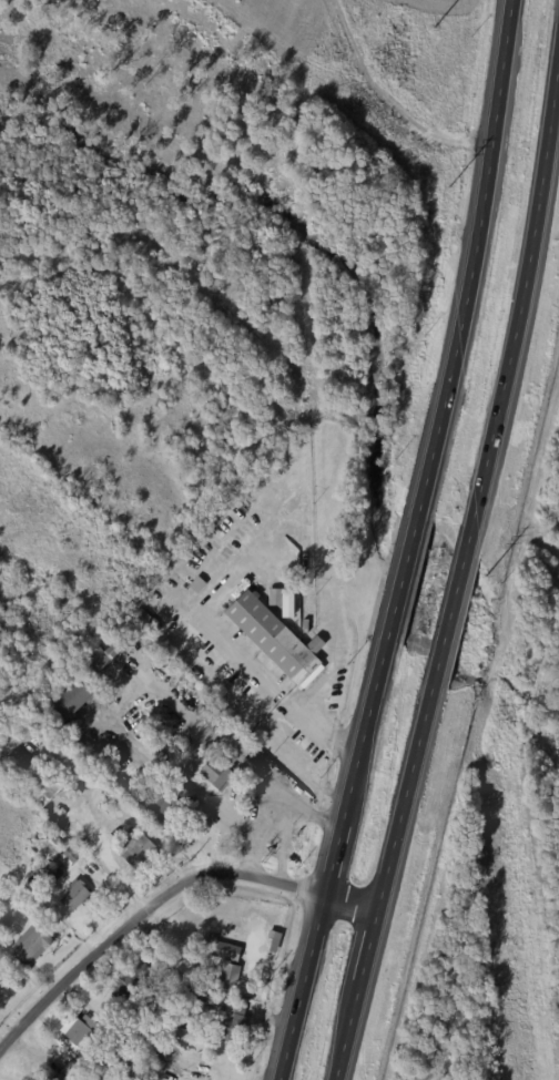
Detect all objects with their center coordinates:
road: (474, 258)
road: (522, 293)
road: (403, 577)
building: (196, 582)
road: (456, 590)
building: (273, 595)
building: (287, 604)
building: (306, 624)
building: (275, 636)
building: (108, 655)
road: (255, 674)
building: (75, 696)
building: (142, 717)
building: (35, 762)
road: (356, 767)
building: (218, 774)
building: (39, 783)
building: (173, 801)
building: (298, 833)
building: (55, 838)
building: (139, 849)
building: (34, 852)
building: (72, 854)
road: (385, 867)
building: (44, 872)
building: (77, 895)
road: (163, 898)
building: (49, 925)
building: (277, 940)
building: (34, 944)
building: (225, 945)
building: (227, 971)
building: (134, 981)
building: (253, 982)
building: (1, 987)
road: (302, 988)
building: (209, 996)
building: (235, 1022)
building: (82, 1029)
building: (191, 1033)
building: (152, 1047)
building: (125, 1051)
building: (74, 1069)
building: (59, 1078)

